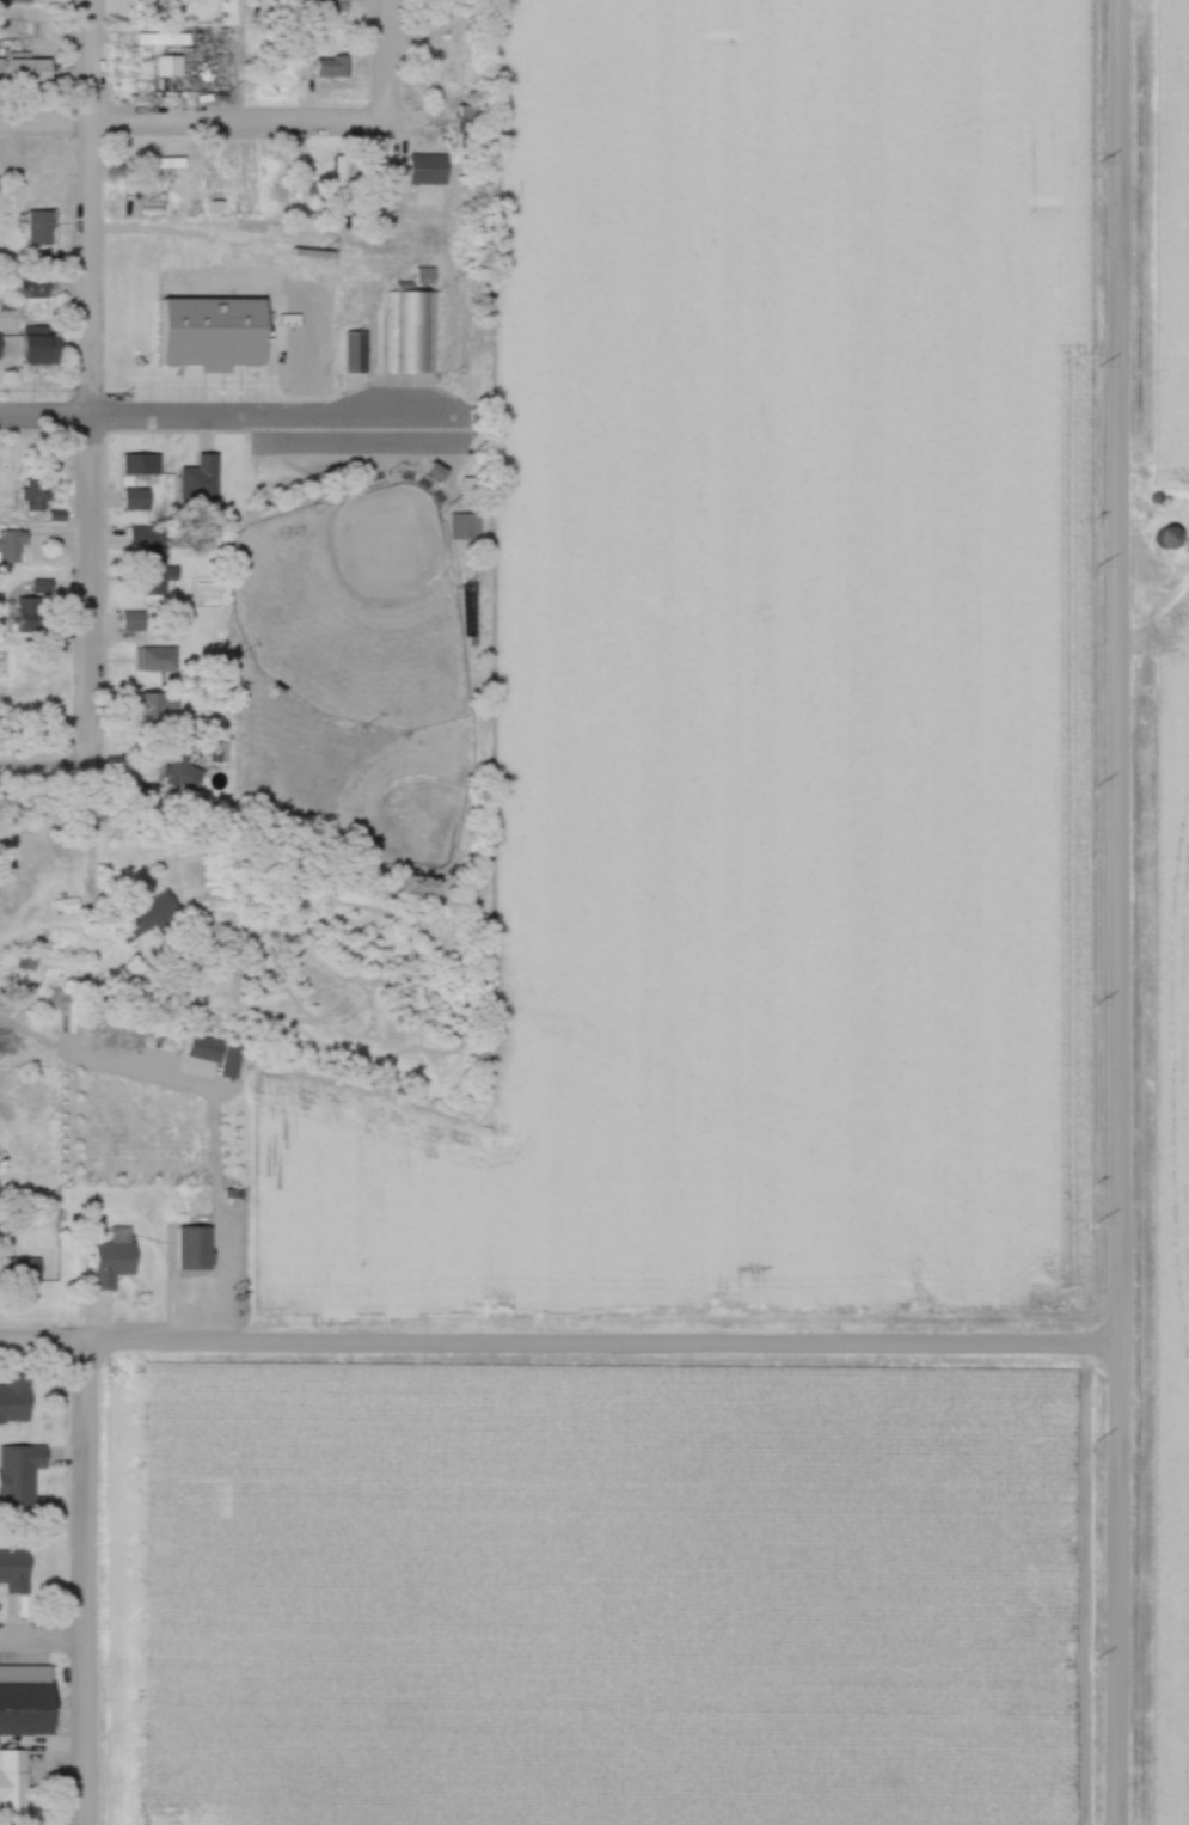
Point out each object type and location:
building: (157, 0)
building: (23, 1)
building: (436, 37)
road: (249, 61)
road: (390, 61)
building: (2, 71)
building: (32, 72)
building: (458, 79)
road: (208, 121)
building: (467, 129)
building: (170, 164)
building: (42, 228)
building: (39, 292)
building: (410, 326)
building: (43, 347)
building: (1, 348)
building: (356, 354)
road: (91, 378)
road: (227, 417)
building: (147, 471)
building: (466, 528)
building: (1173, 539)
building: (13, 546)
building: (158, 565)
building: (31, 611)
building: (135, 623)
building: (160, 661)
building: (159, 710)
road: (45, 757)
building: (185, 772)
road: (1117, 912)
building: (152, 920)
building: (197, 1248)
building: (117, 1255)
building: (22, 1270)
road: (558, 1341)
building: (18, 1395)
building: (18, 1427)
building: (17, 1507)
road: (88, 1582)
building: (17, 1586)
road: (44, 1641)
building: (27, 1701)
building: (14, 1786)

